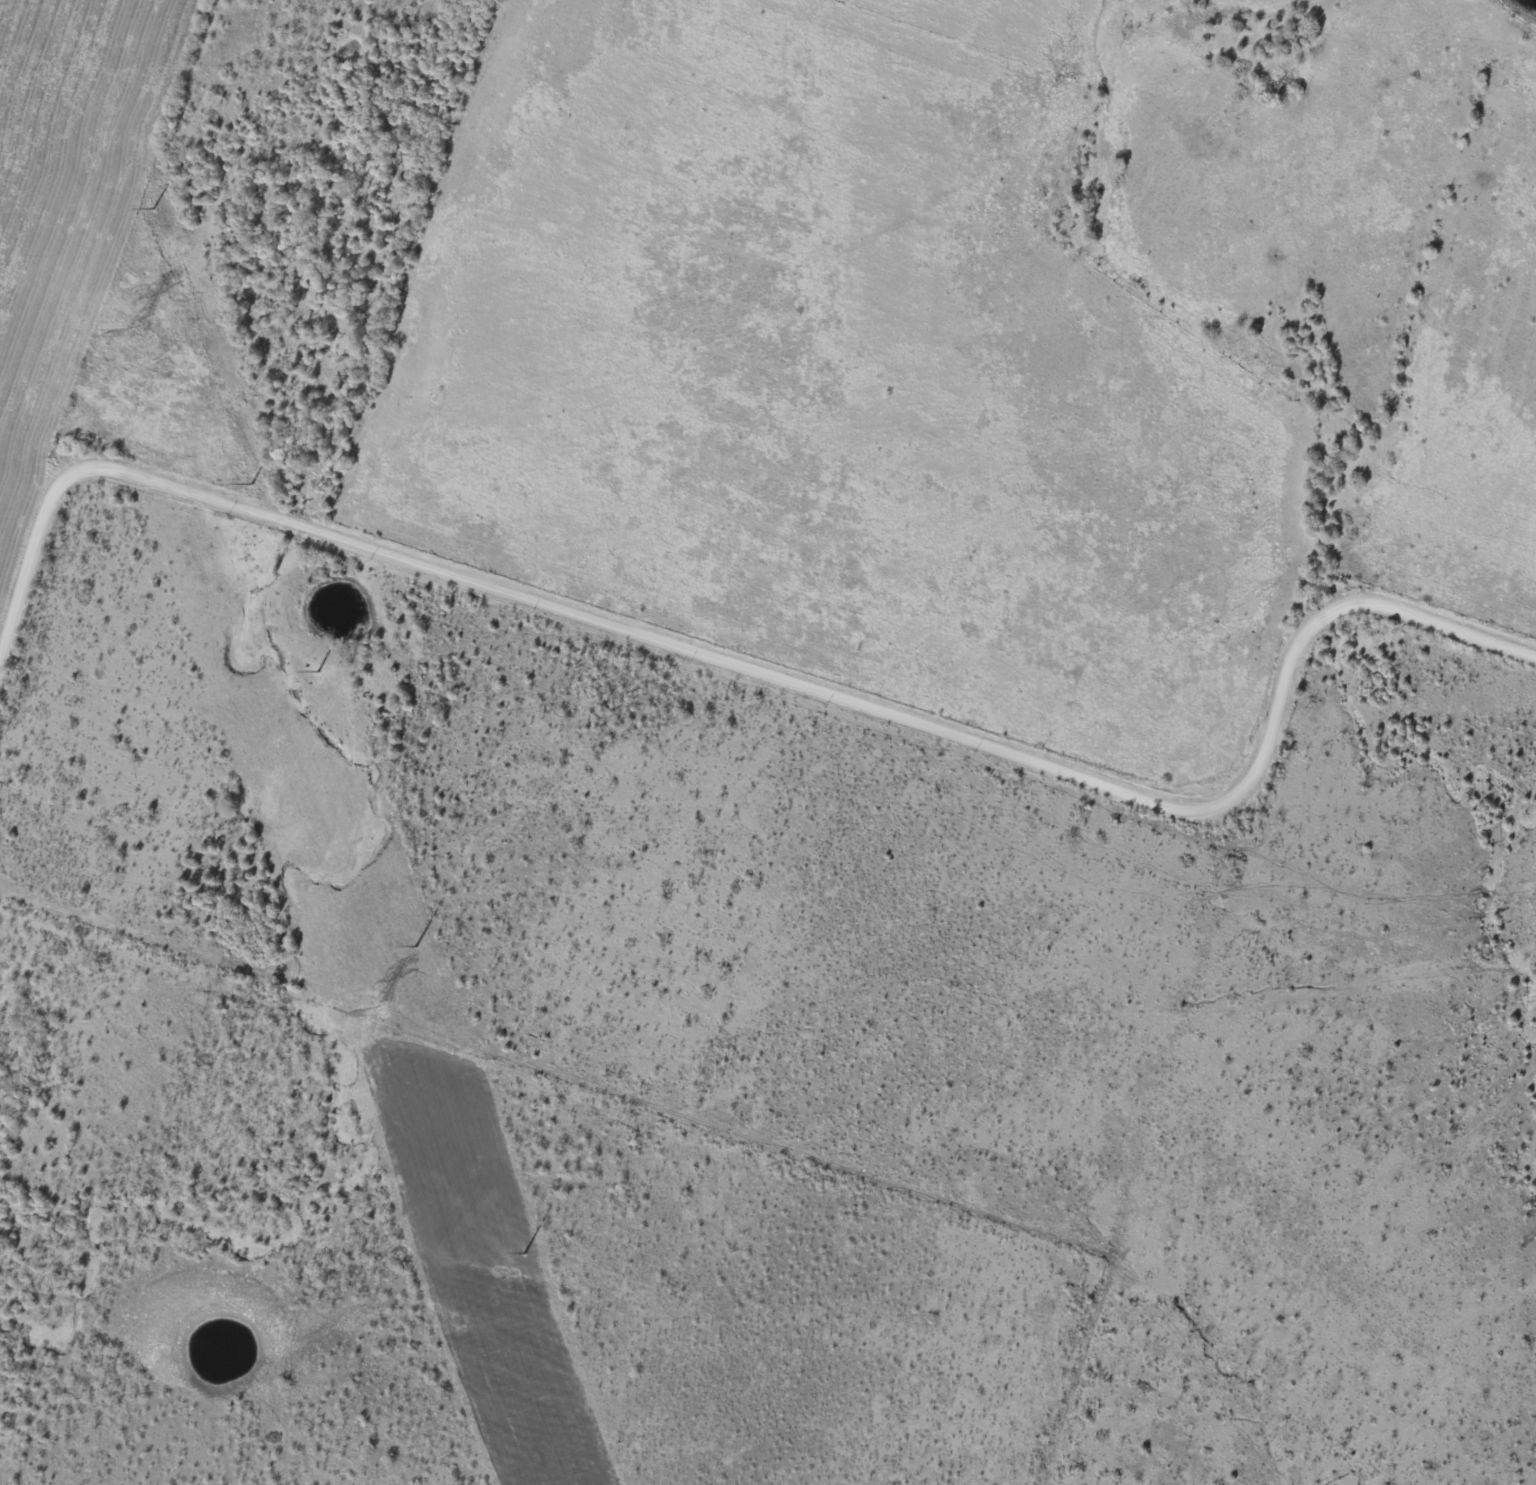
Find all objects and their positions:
power tower: (133, 334)
road: (766, 675)
power tower: (374, 1014)

